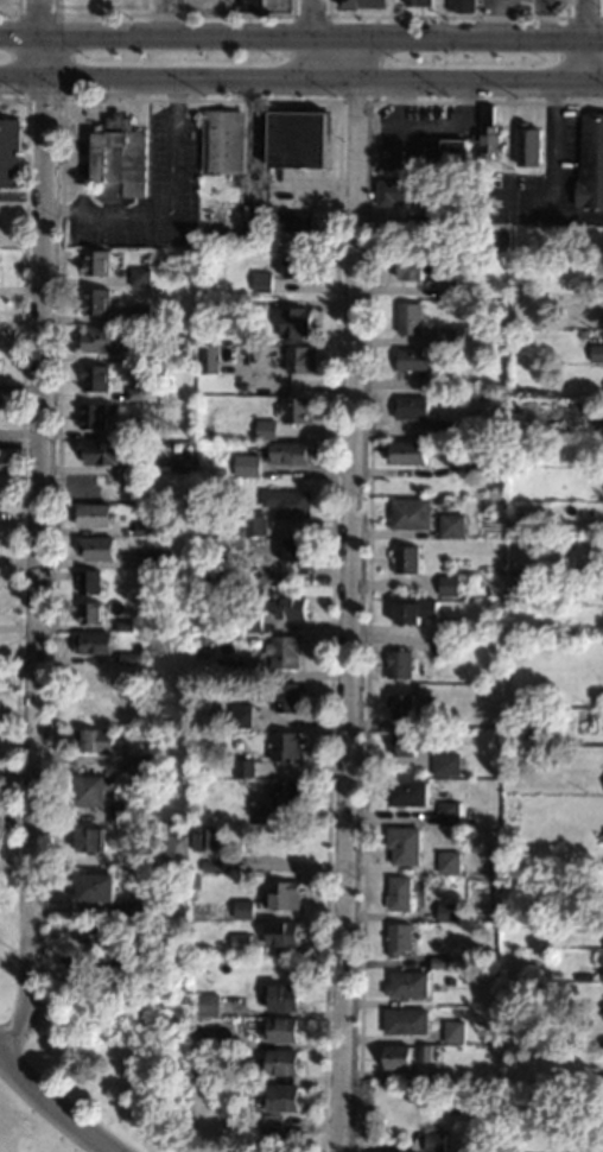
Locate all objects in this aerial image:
building: (349, 1)
building: (419, 2)
building: (248, 5)
building: (462, 6)
road: (15, 12)
road: (53, 14)
road: (172, 14)
road: (446, 17)
road: (43, 18)
road: (301, 36)
road: (290, 39)
road: (313, 40)
road: (566, 42)
road: (586, 42)
road: (376, 77)
road: (301, 81)
road: (338, 102)
building: (488, 132)
building: (294, 135)
building: (222, 141)
building: (527, 144)
building: (444, 151)
building: (591, 152)
building: (8, 153)
road: (81, 154)
building: (118, 162)
road: (551, 170)
parking lot: (540, 178)
building: (399, 191)
parking lot: (150, 194)
road: (24, 196)
road: (171, 213)
building: (292, 221)
building: (427, 222)
building: (95, 262)
building: (411, 266)
building: (296, 267)
building: (139, 277)
building: (261, 281)
building: (582, 284)
building: (602, 286)
building: (445, 287)
building: (95, 300)
building: (139, 314)
building: (602, 316)
building: (408, 318)
building: (293, 322)
building: (580, 335)
building: (444, 336)
building: (588, 336)
building: (96, 340)
building: (596, 354)
building: (135, 356)
building: (300, 359)
building: (205, 360)
building: (411, 360)
building: (94, 378)
building: (444, 384)
building: (134, 393)
building: (410, 407)
building: (296, 410)
building: (91, 416)
building: (597, 423)
building: (442, 429)
building: (265, 430)
building: (129, 432)
building: (99, 451)
building: (405, 452)
building: (484, 452)
building: (288, 454)
building: (0, 460)
building: (180, 463)
building: (247, 466)
road: (19, 473)
building: (286, 502)
road: (368, 513)
building: (408, 513)
building: (94, 514)
building: (246, 525)
building: (450, 526)
building: (141, 527)
building: (186, 544)
road: (38, 545)
building: (94, 547)
building: (293, 550)
building: (161, 558)
building: (405, 558)
building: (601, 563)
building: (262, 578)
building: (87, 582)
building: (448, 586)
road: (351, 594)
building: (290, 608)
building: (413, 612)
building: (90, 613)
building: (249, 621)
building: (121, 626)
building: (91, 644)
building: (445, 646)
building: (283, 651)
building: (128, 658)
building: (398, 664)
building: (230, 669)
building: (260, 694)
building: (287, 697)
building: (401, 707)
building: (89, 708)
building: (240, 715)
building: (132, 722)
building: (93, 741)
building: (115, 742)
building: (408, 745)
building: (285, 747)
building: (246, 755)
building: (139, 765)
building: (445, 765)
building: (243, 768)
building: (259, 786)
building: (93, 790)
building: (407, 793)
building: (285, 795)
building: (448, 814)
building: (119, 815)
building: (205, 838)
building: (88, 840)
building: (401, 846)
building: (174, 852)
building: (448, 862)
building: (211, 867)
building: (599, 868)
building: (193, 882)
building: (95, 888)
building: (398, 893)
building: (284, 897)
building: (131, 909)
building: (242, 910)
building: (446, 913)
building: (462, 917)
building: (94, 932)
building: (281, 933)
building: (398, 939)
building: (240, 942)
building: (113, 960)
building: (439, 963)
building: (450, 979)
building: (405, 986)
park: (7, 998)
building: (281, 998)
building: (207, 1006)
building: (405, 1023)
building: (280, 1031)
building: (452, 1032)
building: (211, 1039)
building: (424, 1053)
building: (396, 1058)
building: (279, 1063)
building: (198, 1070)
park: (125, 1074)
road: (53, 1106)
building: (278, 1107)
building: (434, 1142)
building: (602, 1142)

